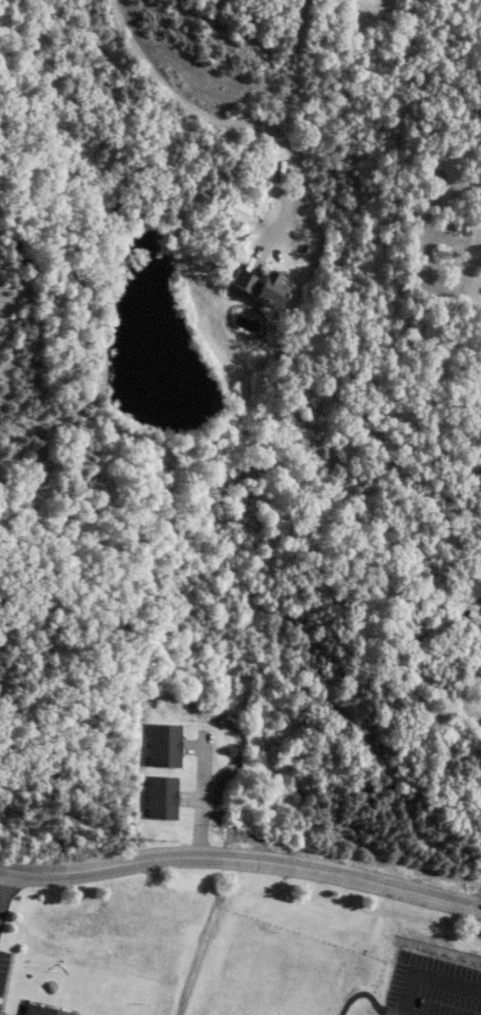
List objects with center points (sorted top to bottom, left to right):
road: (222, 118)
building: (238, 210)
building: (260, 286)
building: (164, 745)
building: (160, 797)
road: (198, 797)
road: (242, 858)
road: (4, 885)
parking lot: (3, 968)
park: (284, 974)
road: (424, 979)
parking lot: (433, 989)
building: (39, 1011)

